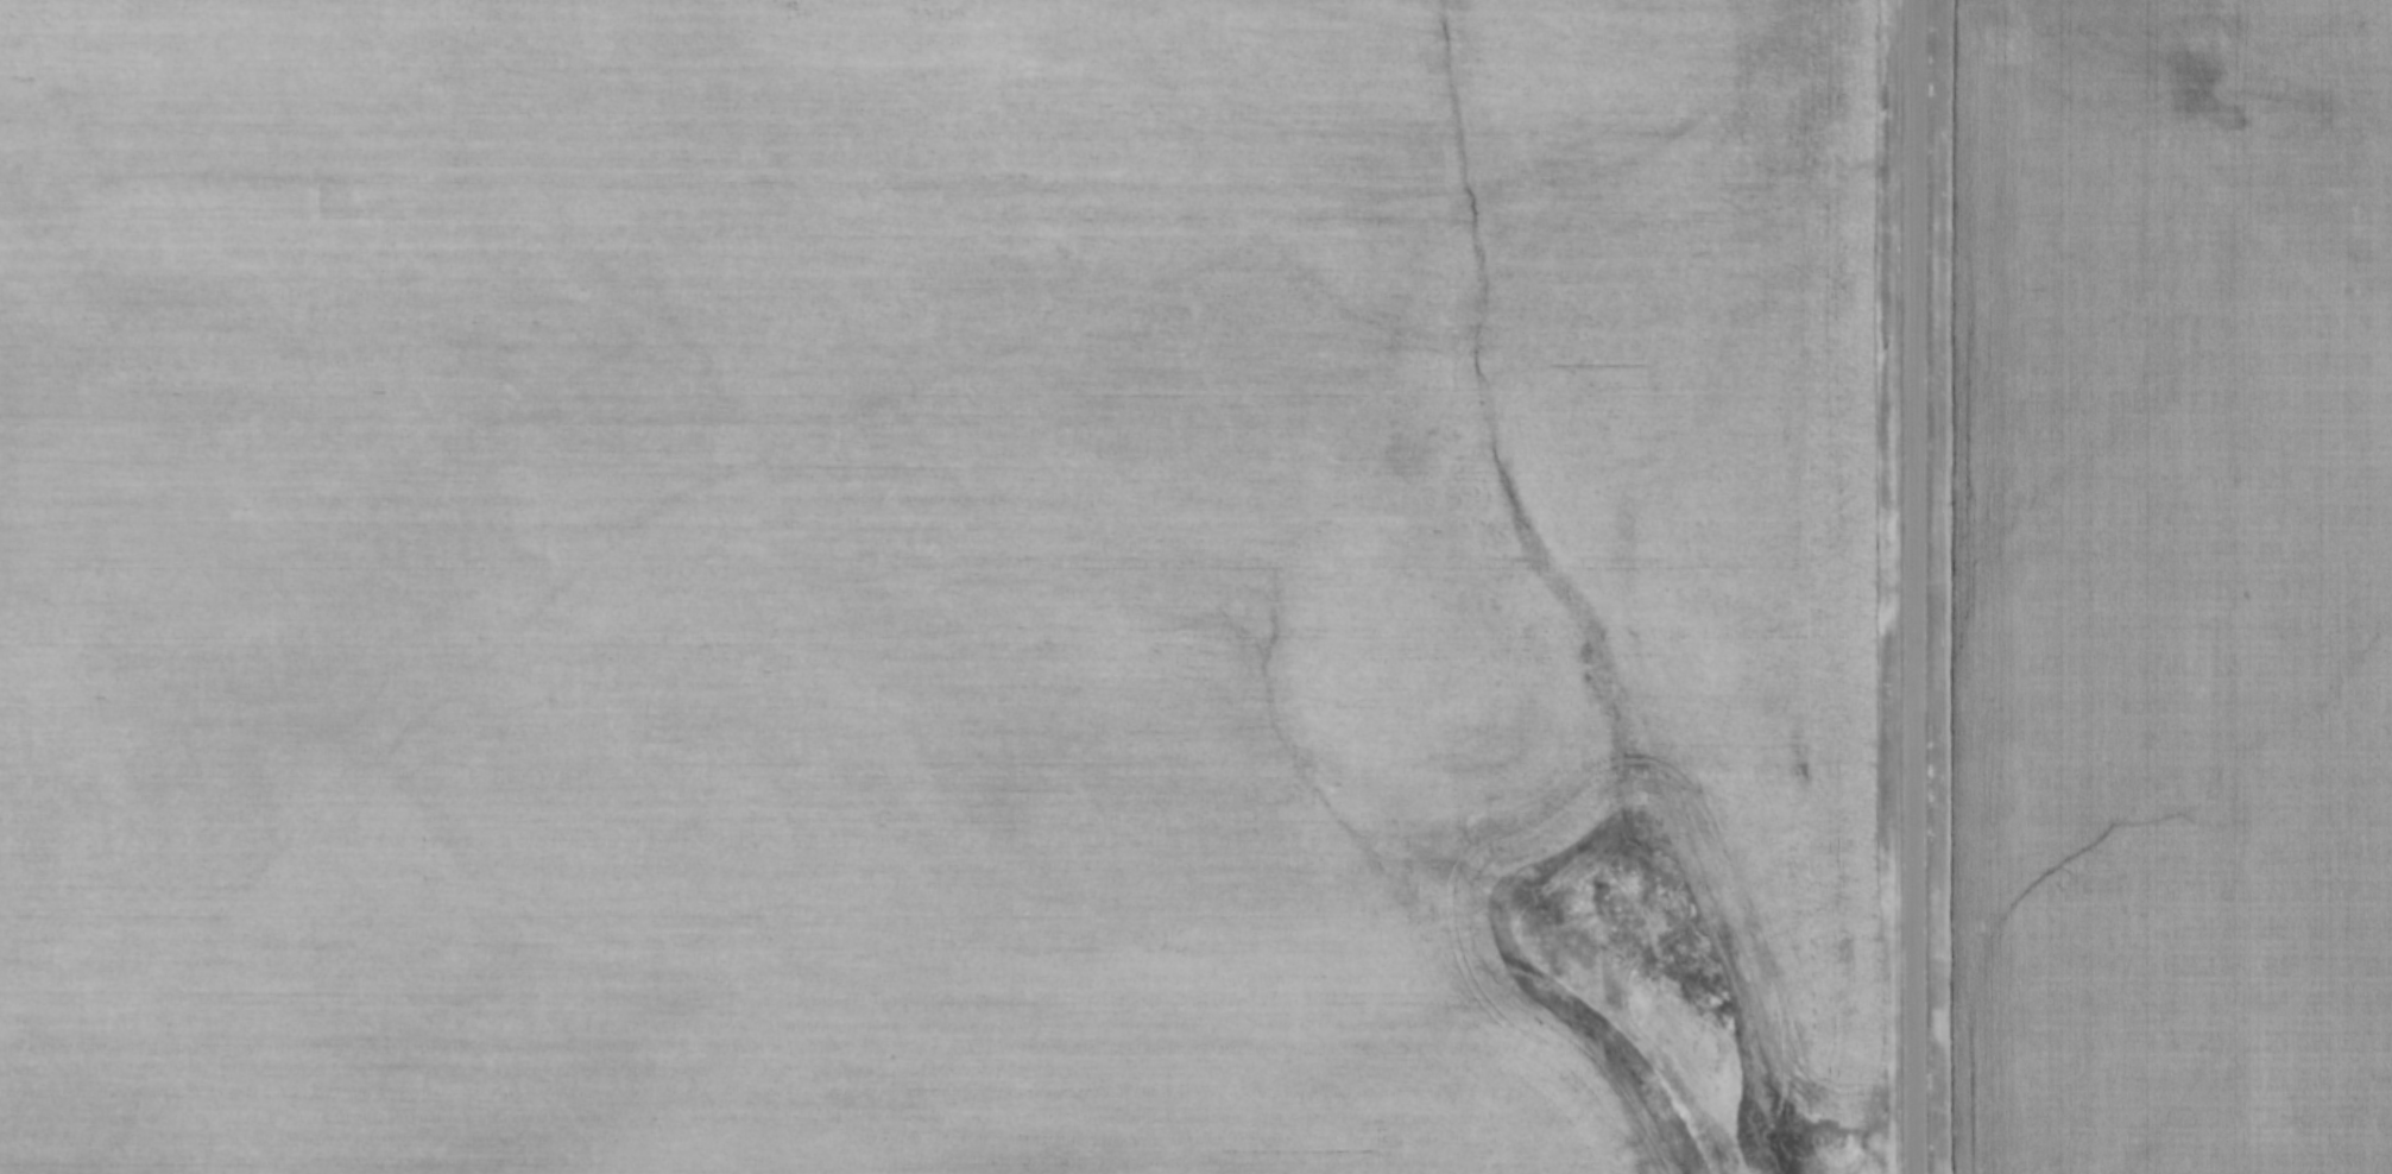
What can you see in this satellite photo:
road: (1913, 586)

